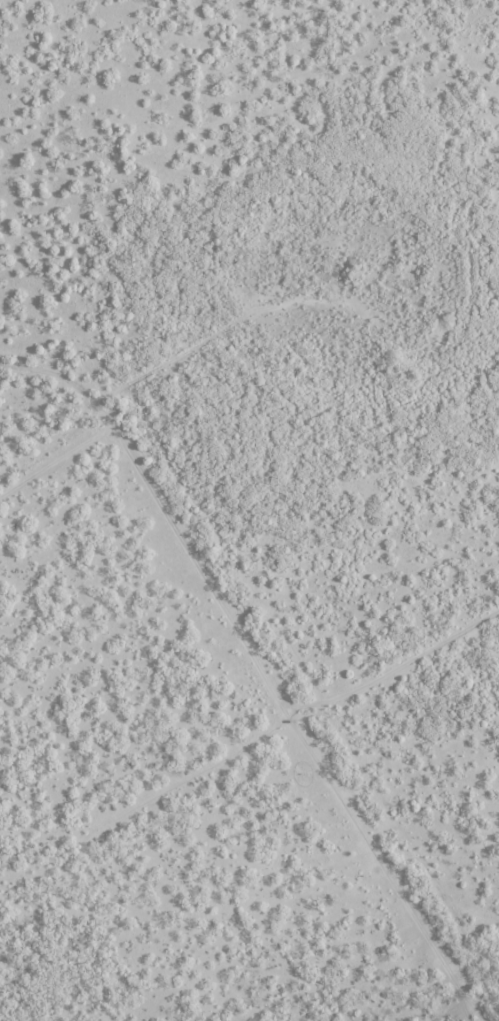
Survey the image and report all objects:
road: (119, 381)

